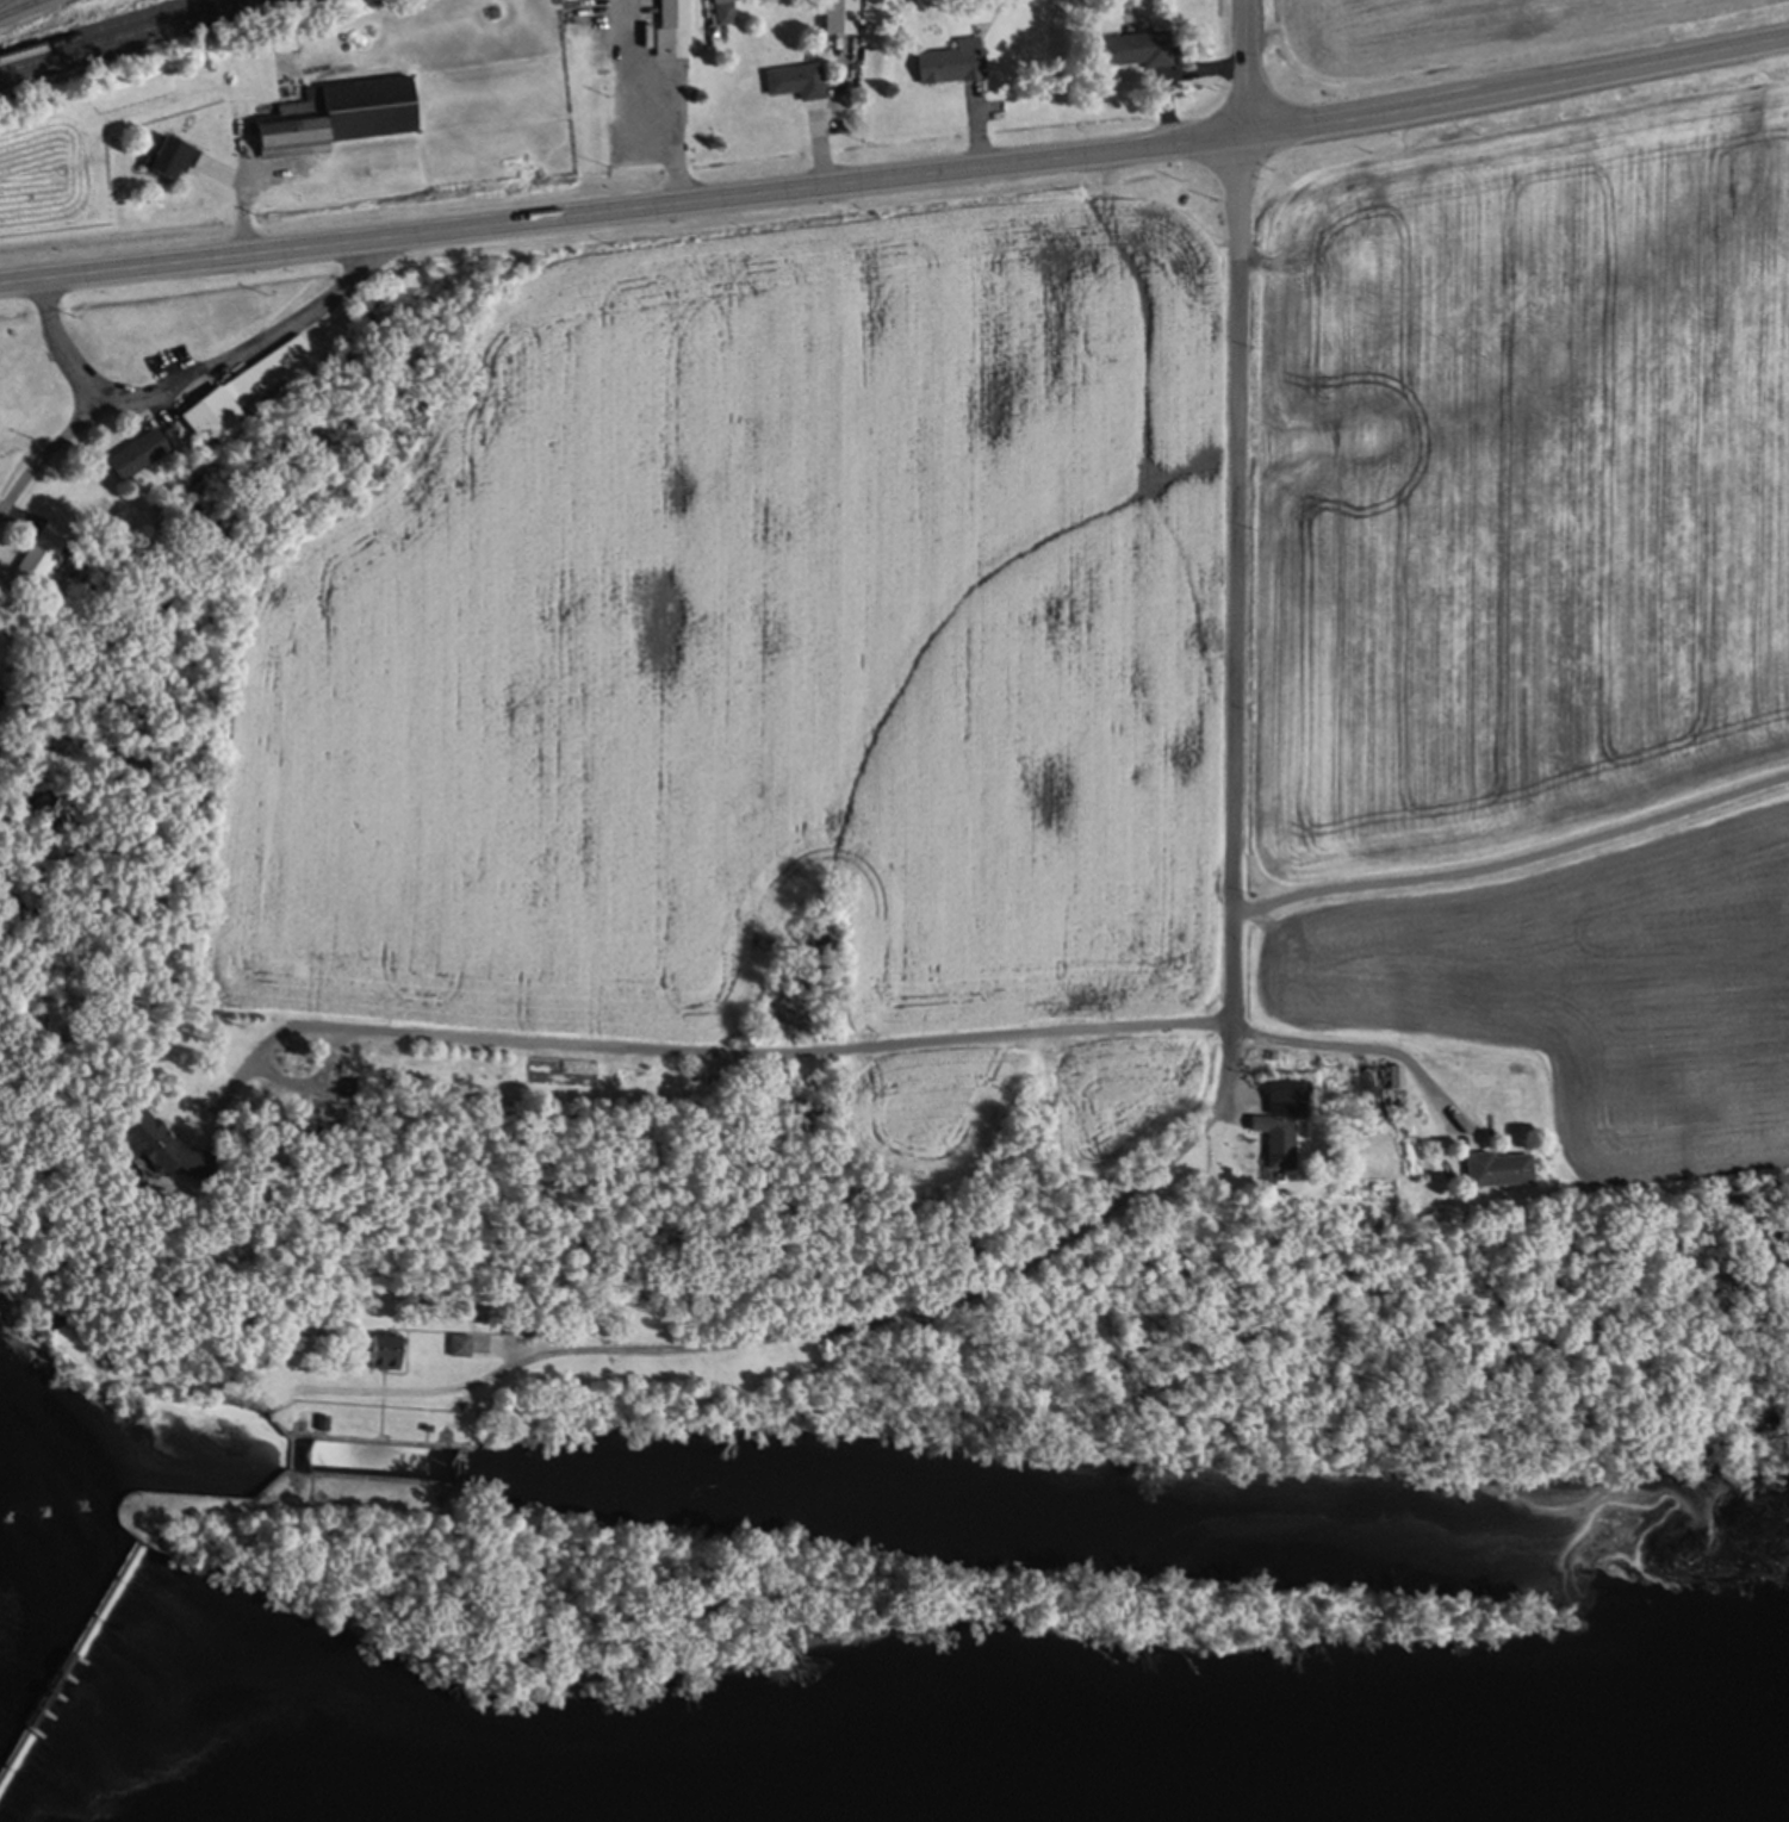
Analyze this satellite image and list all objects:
railway: (5, 2)
railway: (20, 8)
building: (725, 12)
building: (840, 18)
railway: (103, 30)
building: (673, 30)
railway: (120, 36)
crop: (1477, 38)
building: (1136, 51)
building: (952, 63)
road: (1244, 67)
building: (796, 81)
road: (1517, 89)
building: (337, 120)
building: (170, 163)
road: (244, 204)
road: (622, 209)
road: (61, 348)
building: (269, 373)
road: (187, 377)
building: (210, 424)
crop: (1512, 430)
building: (137, 460)
building: (39, 565)
crop: (764, 640)
building: (1, 704)
road: (1516, 863)
crop: (1582, 972)
road: (1236, 984)
road: (1369, 1047)
road: (707, 1055)
building: (347, 1074)
building: (1397, 1080)
building: (1291, 1099)
building: (1278, 1143)
building: (161, 1153)
building: (1497, 1173)
building: (325, 1183)
building: (1492, 1244)
building: (518, 1319)
building: (460, 1349)
building: (385, 1360)
road: (446, 1389)
park: (764, 1401)
building: (322, 1417)
park: (611, 1617)
building: (64, 1653)
dam: (67, 1660)
river: (1559, 1774)
river: (89, 1778)

